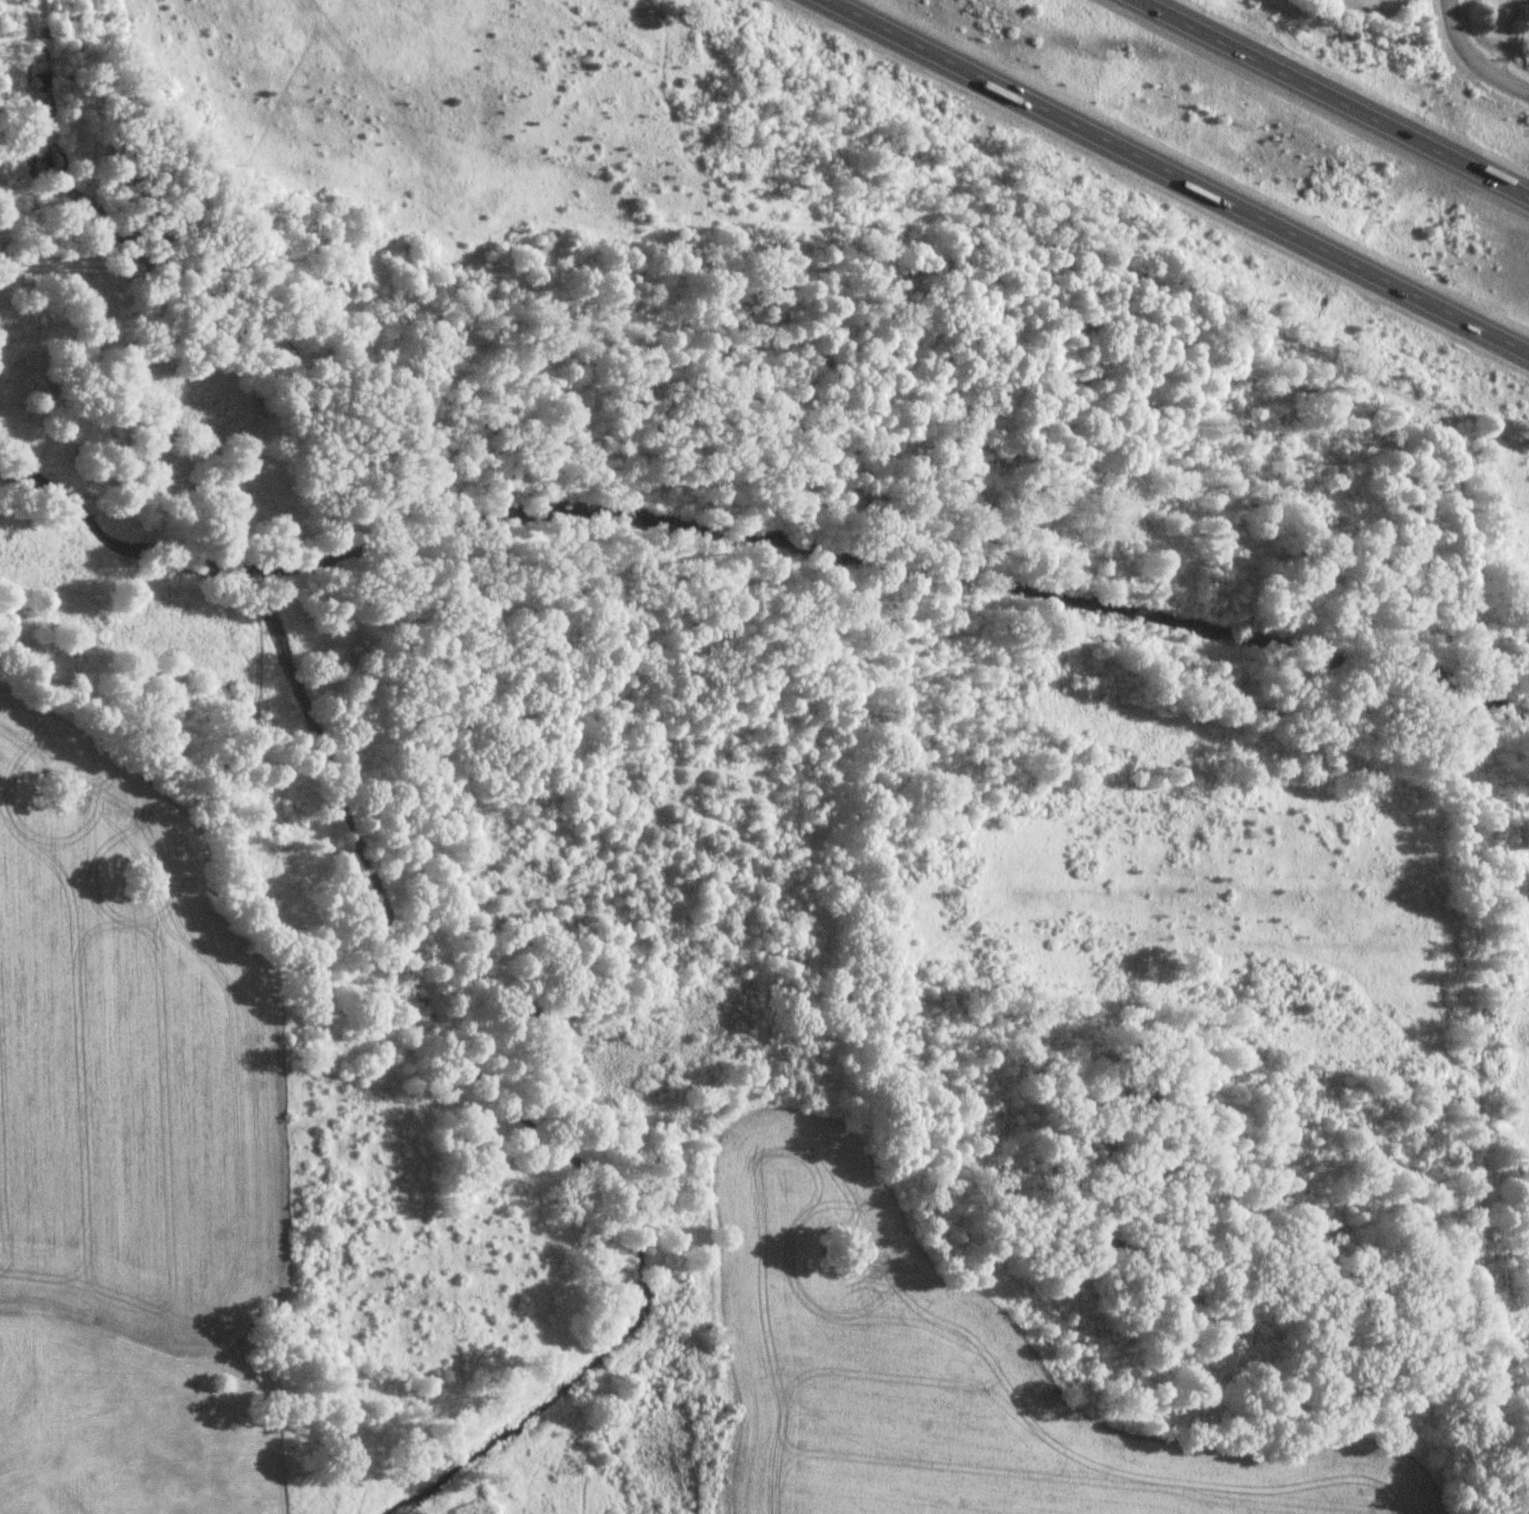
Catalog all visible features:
road: (1508, 47)
road: (1471, 58)
road: (1338, 96)
road: (1179, 177)

